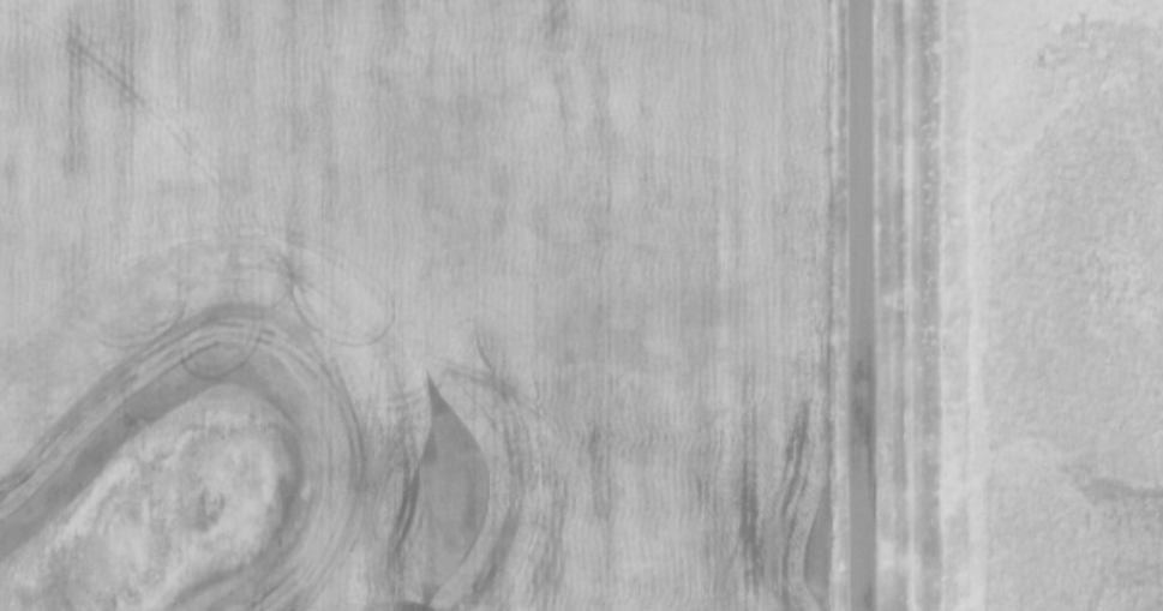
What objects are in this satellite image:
road: (862, 305)

